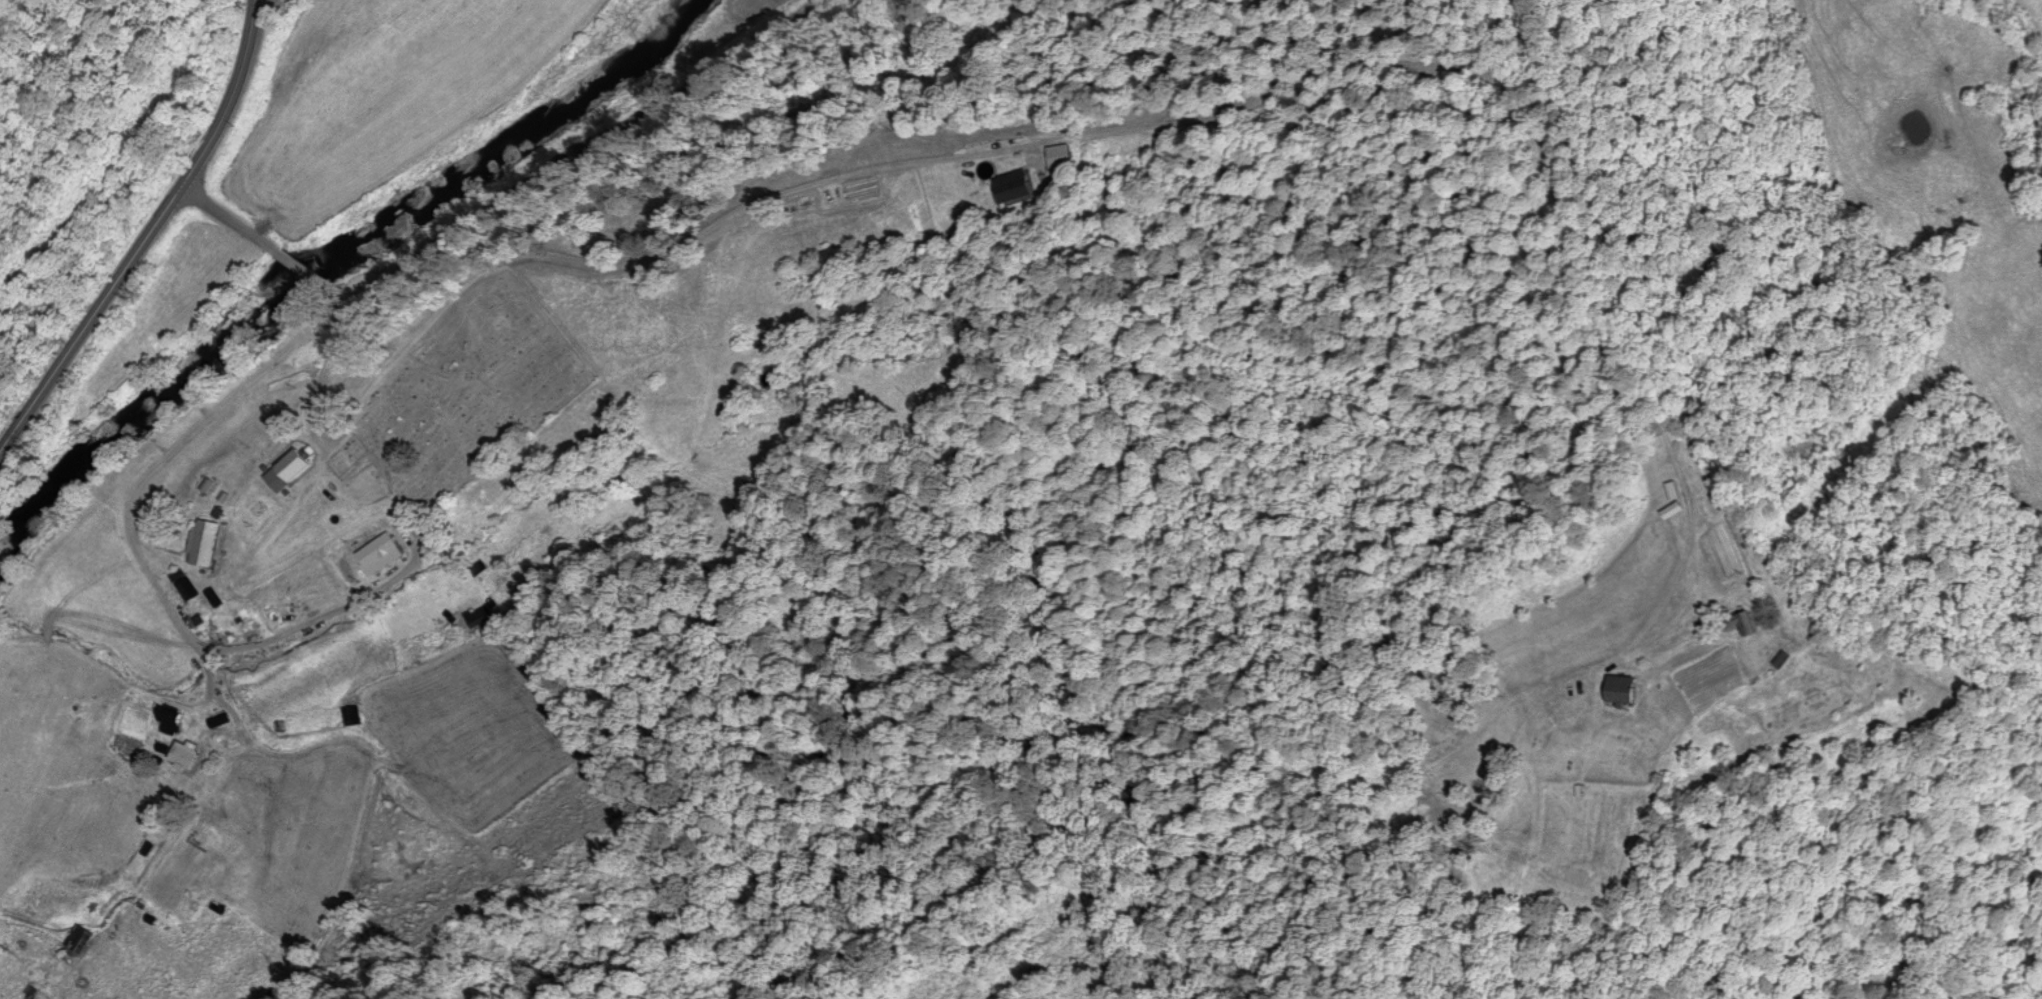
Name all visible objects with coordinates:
road: (569, 187)
building: (1021, 187)
building: (825, 202)
road: (151, 243)
road: (267, 243)
river: (326, 276)
road: (185, 455)
building: (295, 471)
building: (1678, 512)
building: (209, 544)
building: (191, 590)
building: (482, 618)
building: (1755, 628)
building: (1790, 661)
road: (280, 673)
building: (1630, 690)
building: (358, 717)
building: (174, 721)
building: (186, 756)
building: (83, 939)

